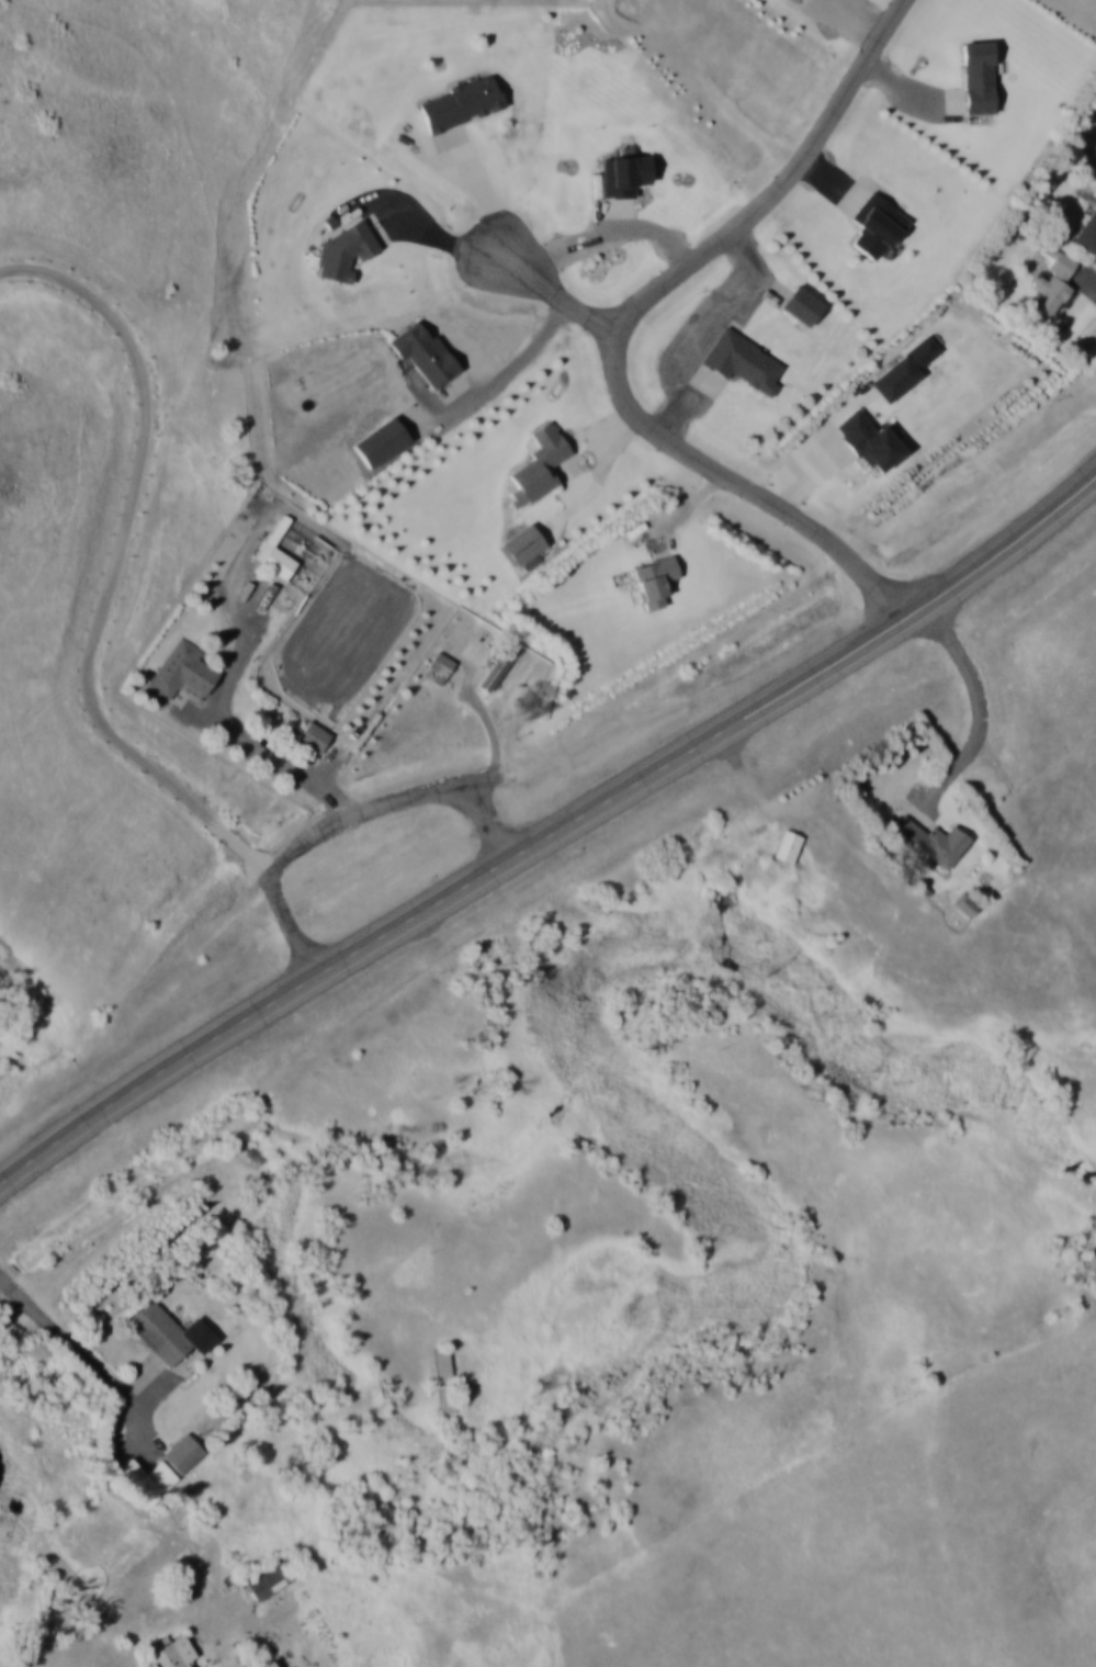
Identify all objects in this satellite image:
building: (976, 76)
building: (460, 102)
building: (622, 174)
building: (1094, 191)
building: (874, 224)
building: (1087, 232)
building: (343, 250)
building: (1052, 282)
road: (557, 291)
building: (800, 304)
road: (623, 325)
building: (423, 352)
building: (743, 360)
building: (904, 368)
building: (868, 440)
building: (540, 461)
building: (521, 542)
building: (275, 551)
building: (654, 578)
road: (103, 617)
building: (497, 664)
building: (440, 665)
building: (182, 668)
road: (979, 701)
building: (313, 735)
road: (313, 782)
road: (770, 804)
road: (553, 834)
building: (928, 841)
building: (786, 845)
road: (306, 846)
road: (80, 1355)
building: (444, 1378)
building: (182, 1452)

